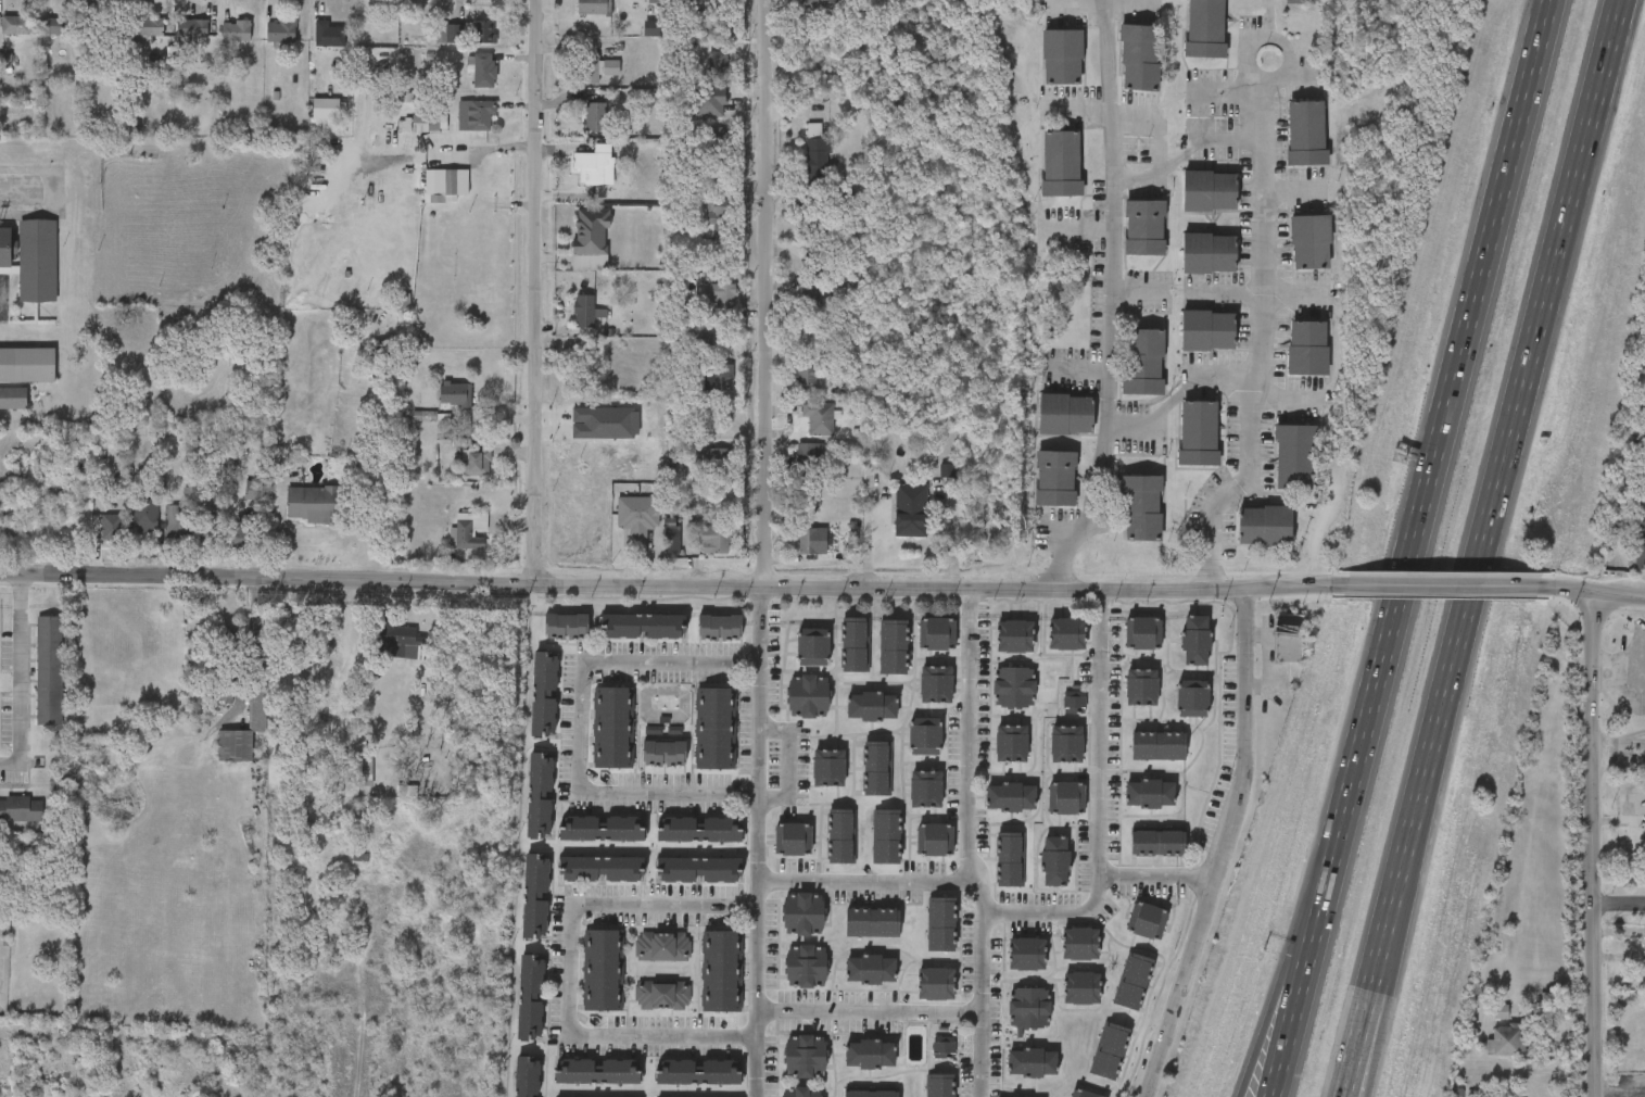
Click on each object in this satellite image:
building: (721, 1)
building: (1300, 1)
building: (820, 3)
building: (593, 5)
building: (15, 23)
building: (53, 24)
building: (193, 26)
building: (103, 27)
building: (149, 28)
building: (236, 28)
building: (1205, 28)
building: (281, 29)
building: (483, 30)
building: (448, 31)
building: (329, 33)
building: (1062, 56)
building: (1140, 58)
building: (5, 61)
building: (717, 63)
building: (597, 67)
building: (484, 68)
building: (408, 98)
building: (709, 99)
building: (325, 106)
building: (476, 114)
building: (596, 114)
road: (1161, 122)
building: (429, 123)
building: (405, 125)
building: (1306, 134)
building: (716, 136)
building: (817, 150)
road: (1186, 153)
building: (1061, 164)
building: (596, 166)
building: (450, 181)
building: (706, 182)
building: (1210, 191)
building: (719, 215)
building: (807, 222)
building: (1144, 227)
building: (592, 229)
building: (1311, 242)
building: (344, 247)
building: (1209, 253)
building: (31, 257)
road: (1262, 275)
building: (317, 282)
road: (536, 292)
building: (719, 292)
road: (767, 292)
building: (810, 298)
road: (1113, 300)
building: (403, 301)
building: (586, 310)
building: (1209, 330)
building: (701, 338)
building: (1307, 349)
building: (1143, 362)
building: (27, 364)
building: (719, 375)
building: (809, 379)
building: (456, 393)
building: (13, 396)
road: (1179, 396)
building: (426, 415)
building: (1065, 415)
building: (820, 416)
building: (606, 423)
building: (1198, 433)
road: (1437, 453)
building: (810, 456)
building: (1294, 457)
building: (477, 459)
building: (714, 459)
building: (947, 470)
building: (1055, 479)
building: (255, 489)
building: (314, 502)
building: (911, 508)
building: (1142, 509)
building: (637, 513)
building: (145, 514)
building: (176, 519)
building: (1642, 521)
building: (213, 522)
building: (1265, 527)
building: (112, 529)
road: (1317, 530)
building: (245, 531)
building: (465, 532)
building: (672, 538)
building: (713, 540)
building: (809, 540)
building: (852, 540)
road: (1483, 547)
building: (1640, 553)
road: (665, 585)
road: (1441, 588)
road: (1598, 593)
building: (566, 627)
building: (642, 627)
building: (720, 628)
building: (1142, 632)
building: (936, 633)
building: (1066, 633)
building: (1014, 635)
building: (1289, 639)
building: (1195, 640)
building: (401, 644)
building: (856, 644)
building: (812, 646)
building: (893, 646)
road: (249, 648)
road: (1620, 668)
building: (50, 671)
road: (1644, 671)
road: (20, 676)
building: (936, 683)
building: (1014, 686)
building: (1141, 686)
building: (544, 694)
building: (223, 695)
building: (808, 696)
building: (1192, 698)
building: (1074, 699)
building: (872, 705)
building: (257, 710)
road: (578, 727)
building: (612, 728)
building: (714, 728)
building: (653, 730)
building: (675, 733)
building: (925, 735)
building: (1011, 743)
building: (1066, 744)
building: (1159, 745)
building: (235, 746)
building: (663, 753)
building: (367, 765)
building: (828, 768)
building: (877, 769)
road: (1102, 784)
building: (407, 790)
building: (926, 790)
building: (1150, 793)
building: (540, 794)
building: (1011, 797)
building: (1067, 797)
building: (21, 809)
building: (602, 829)
building: (699, 830)
building: (842, 837)
building: (886, 837)
building: (793, 840)
building: (935, 840)
road: (762, 841)
road: (971, 843)
building: (1157, 843)
road: (1596, 844)
road: (1227, 846)
building: (1010, 859)
building: (1054, 861)
building: (600, 869)
building: (698, 870)
road: (870, 882)
building: (534, 896)
road: (1621, 901)
building: (803, 913)
road: (1058, 913)
building: (1147, 920)
building: (873, 922)
building: (940, 924)
building: (1080, 944)
building: (663, 946)
building: (1026, 954)
building: (806, 966)
building: (870, 969)
building: (603, 970)
building: (722, 971)
road: (573, 972)
building: (1134, 981)
building: (936, 983)
building: (1081, 988)
road: (1276, 991)
road: (343, 995)
building: (662, 995)
building: (531, 996)
road: (1285, 999)
road: (1384, 1005)
building: (1029, 1007)
road: (873, 1011)
building: (1501, 1011)
building: (1504, 1041)
building: (944, 1046)
building: (1109, 1051)
building: (870, 1054)
building: (806, 1057)
building: (1032, 1062)
building: (596, 1071)
building: (697, 1072)
building: (526, 1075)
building: (939, 1085)
road: (1243, 1088)
road: (1368, 1088)
building: (802, 1092)
building: (1457, 1093)
building: (871, 1094)
building: (1084, 1094)

